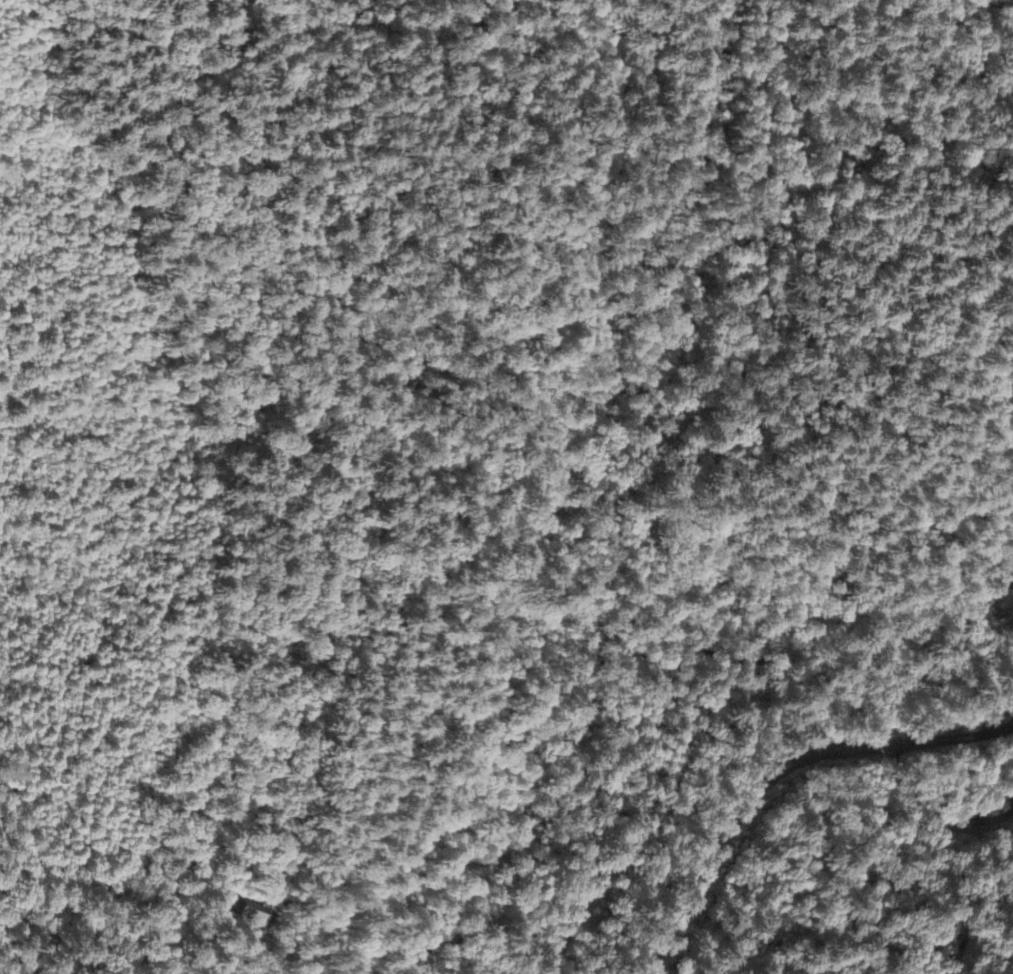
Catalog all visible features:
road: (779, 771)

